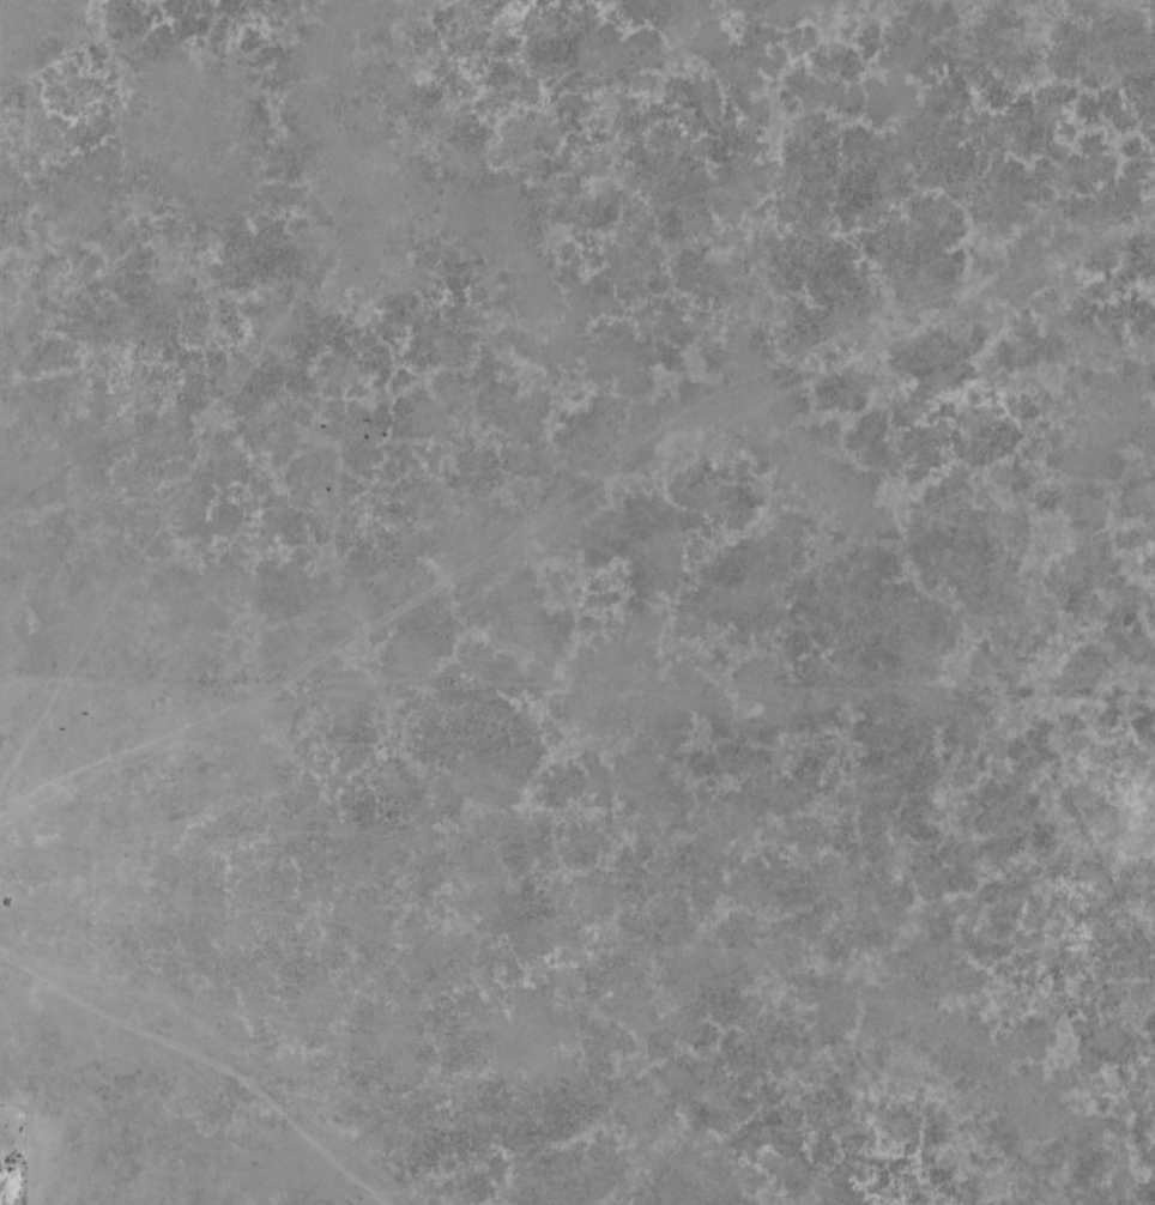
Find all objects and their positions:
road: (4, 1182)

